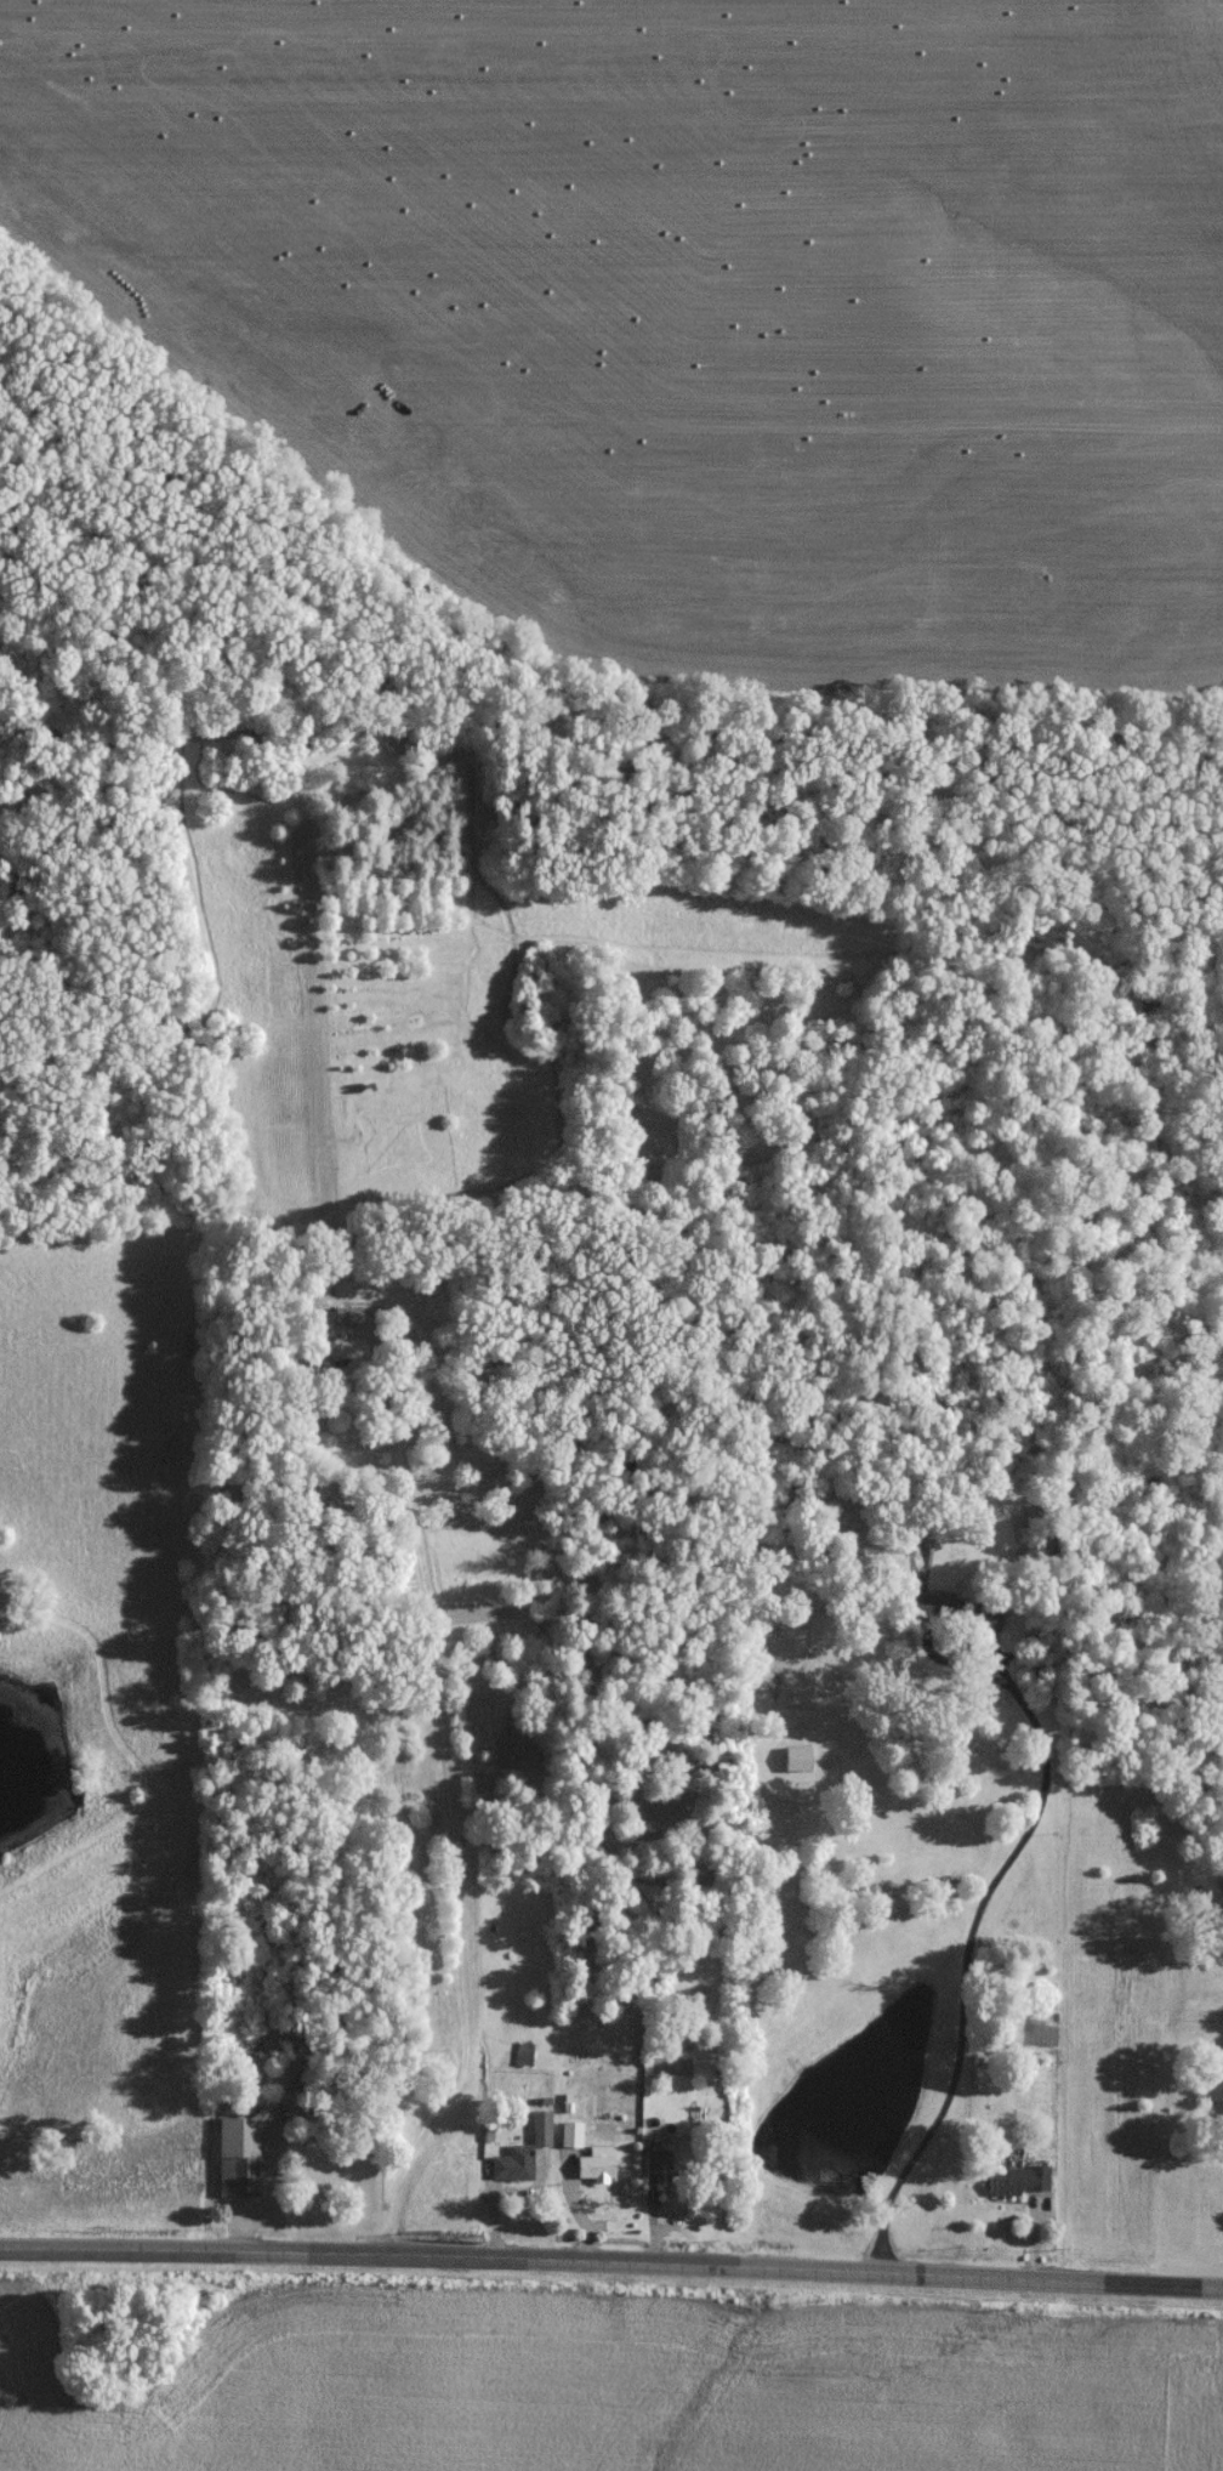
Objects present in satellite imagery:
building: (956, 1612)
building: (986, 1621)
building: (800, 1762)
road: (962, 1956)
building: (525, 2056)
building: (1215, 2092)
building: (542, 2131)
building: (573, 2137)
building: (239, 2159)
building: (514, 2168)
building: (598, 2168)
building: (661, 2169)
building: (1023, 2183)
road: (611, 2261)

